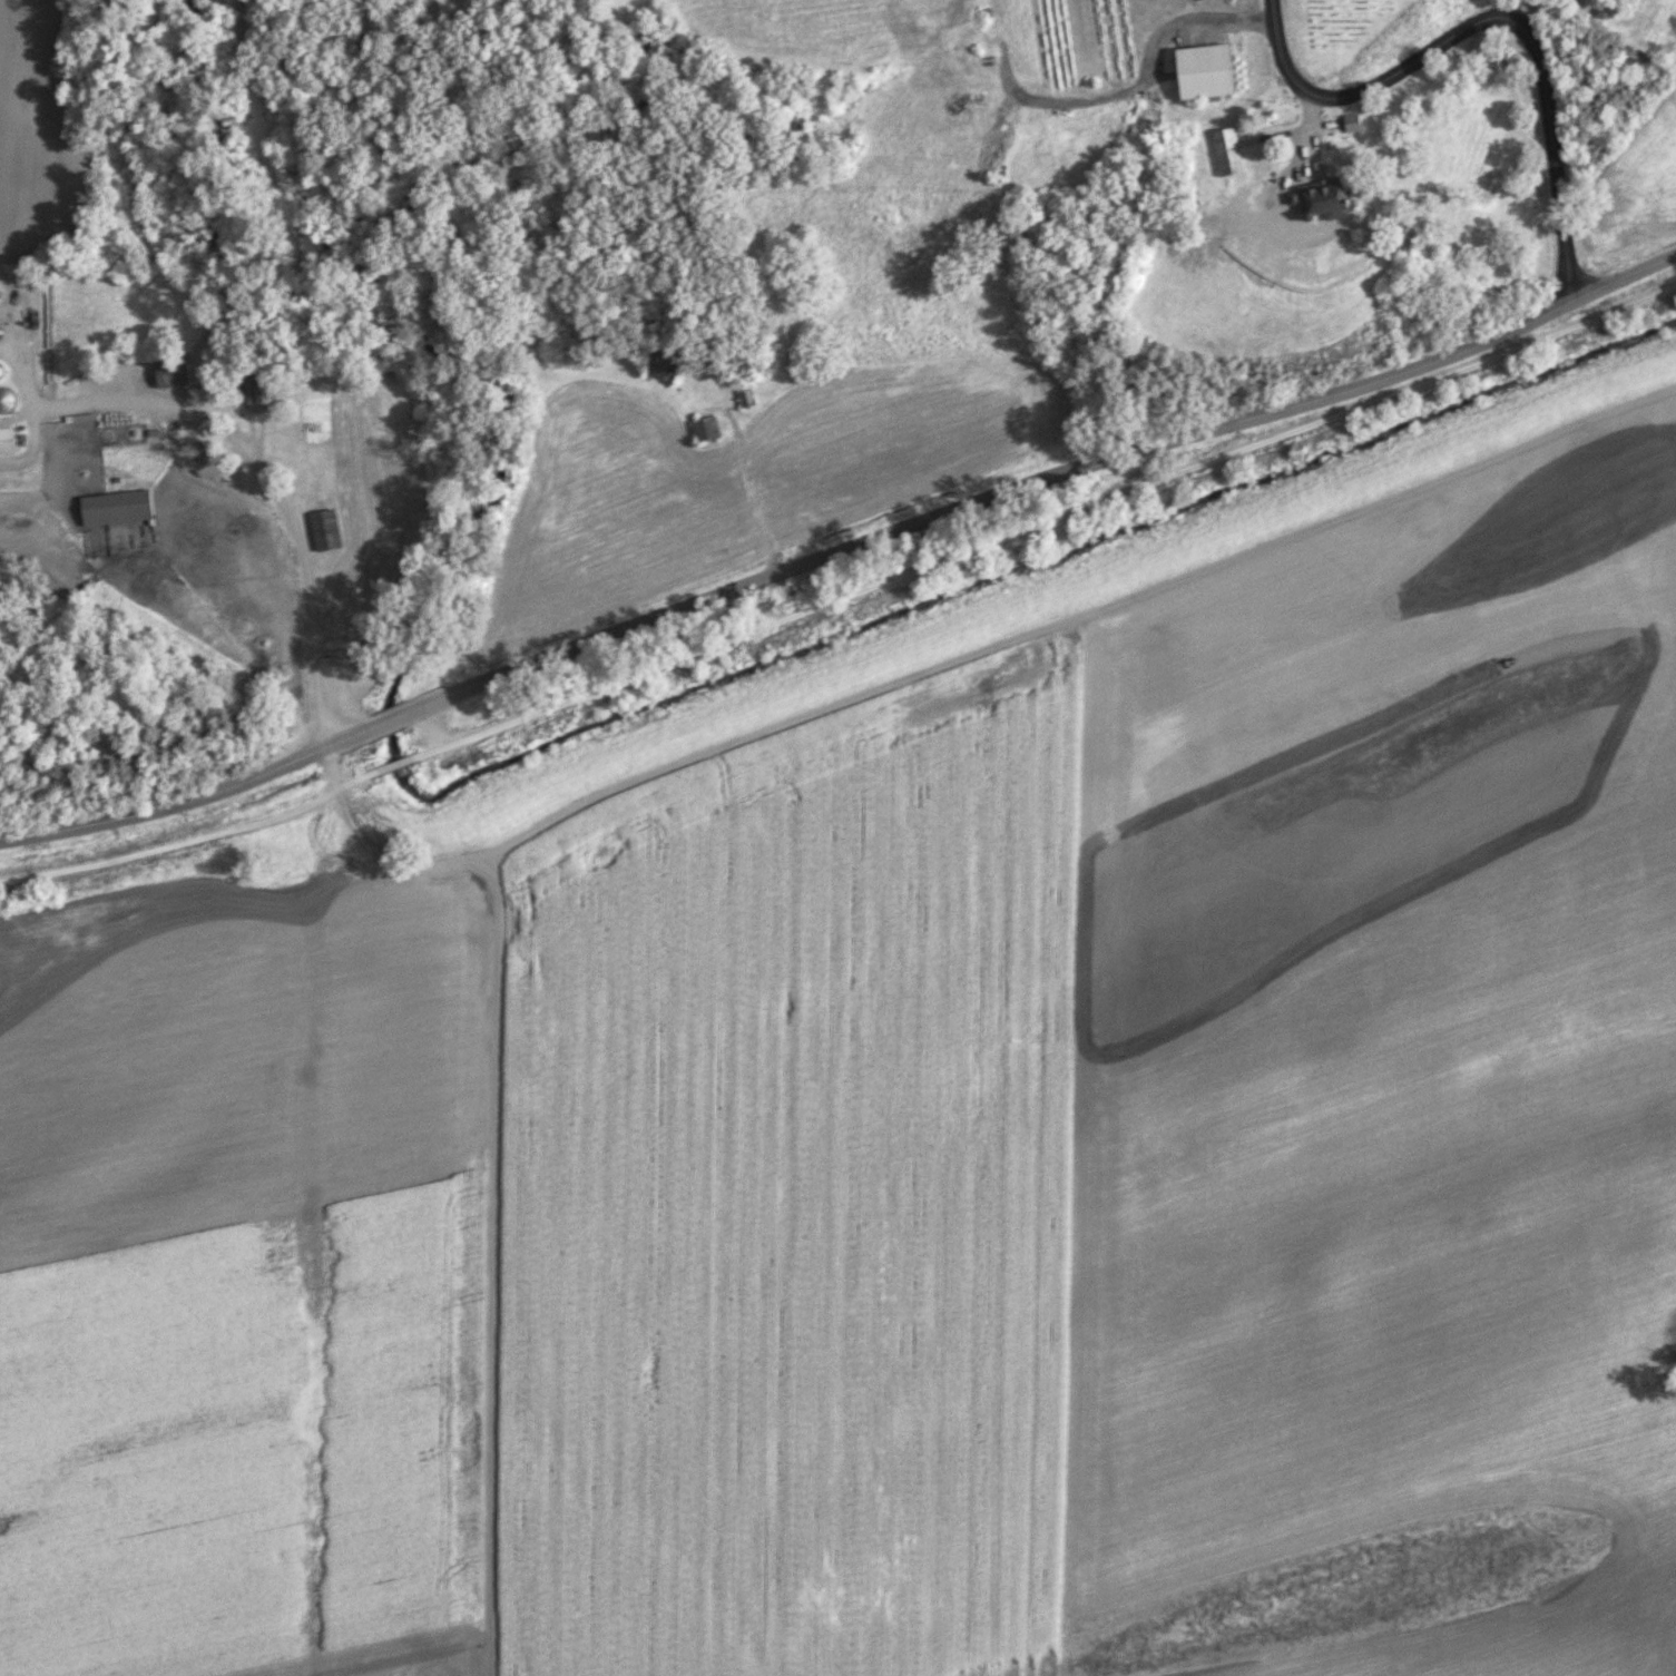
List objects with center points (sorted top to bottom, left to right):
road: (1489, 17)
road: (1146, 69)
building: (1208, 70)
building: (1355, 121)
building: (1232, 153)
building: (1332, 199)
building: (1332, 265)
building: (665, 369)
road: (21, 370)
building: (1, 371)
building: (175, 373)
building: (261, 392)
building: (748, 398)
building: (7, 400)
building: (707, 429)
building: (7, 441)
road: (28, 443)
road: (269, 486)
road: (998, 493)
road: (753, 497)
building: (118, 508)
building: (326, 530)
road: (842, 599)
road: (165, 806)
road: (498, 1149)

